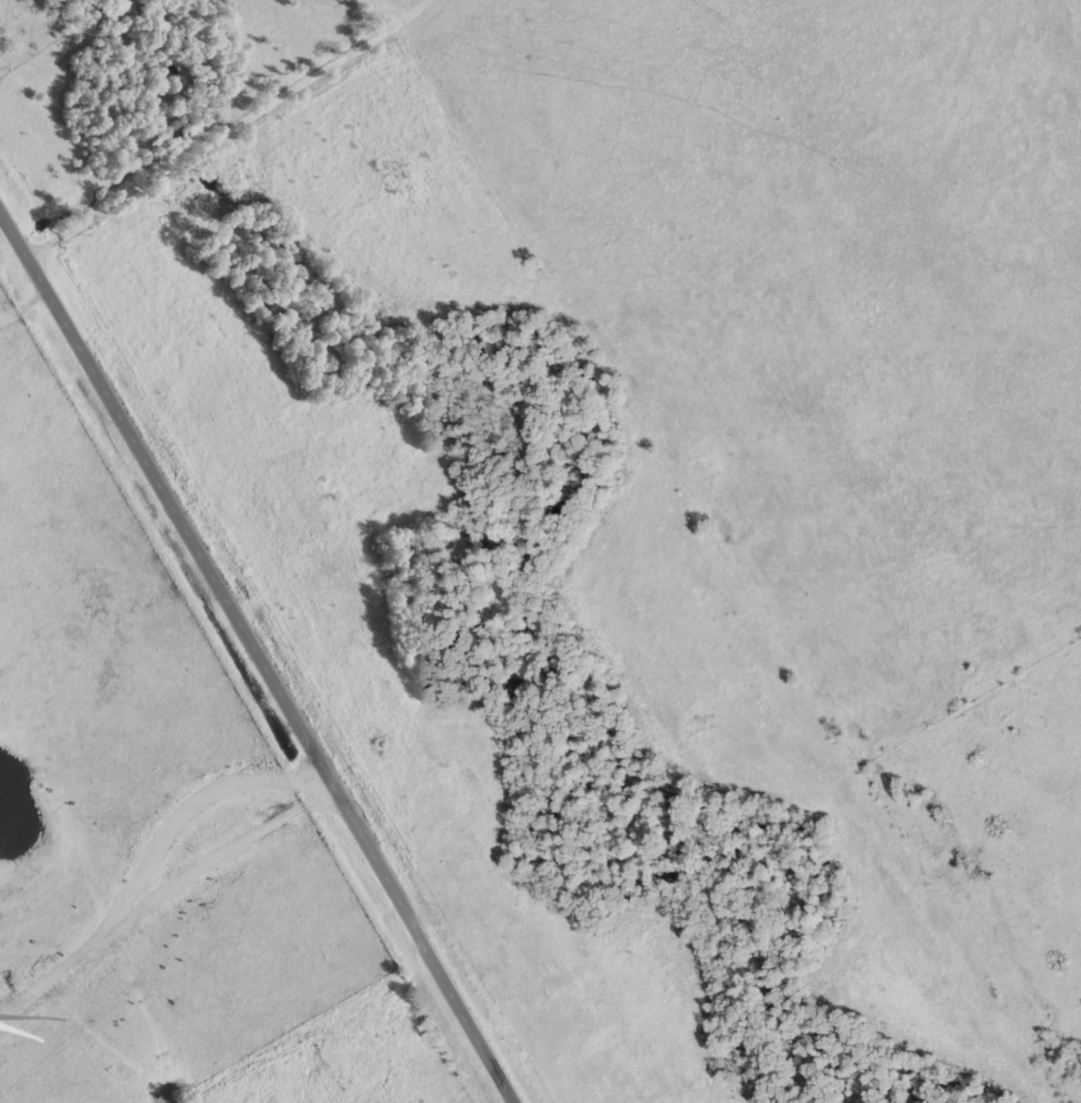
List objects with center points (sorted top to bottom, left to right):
road: (122, 237)
road: (256, 661)
road: (164, 902)

